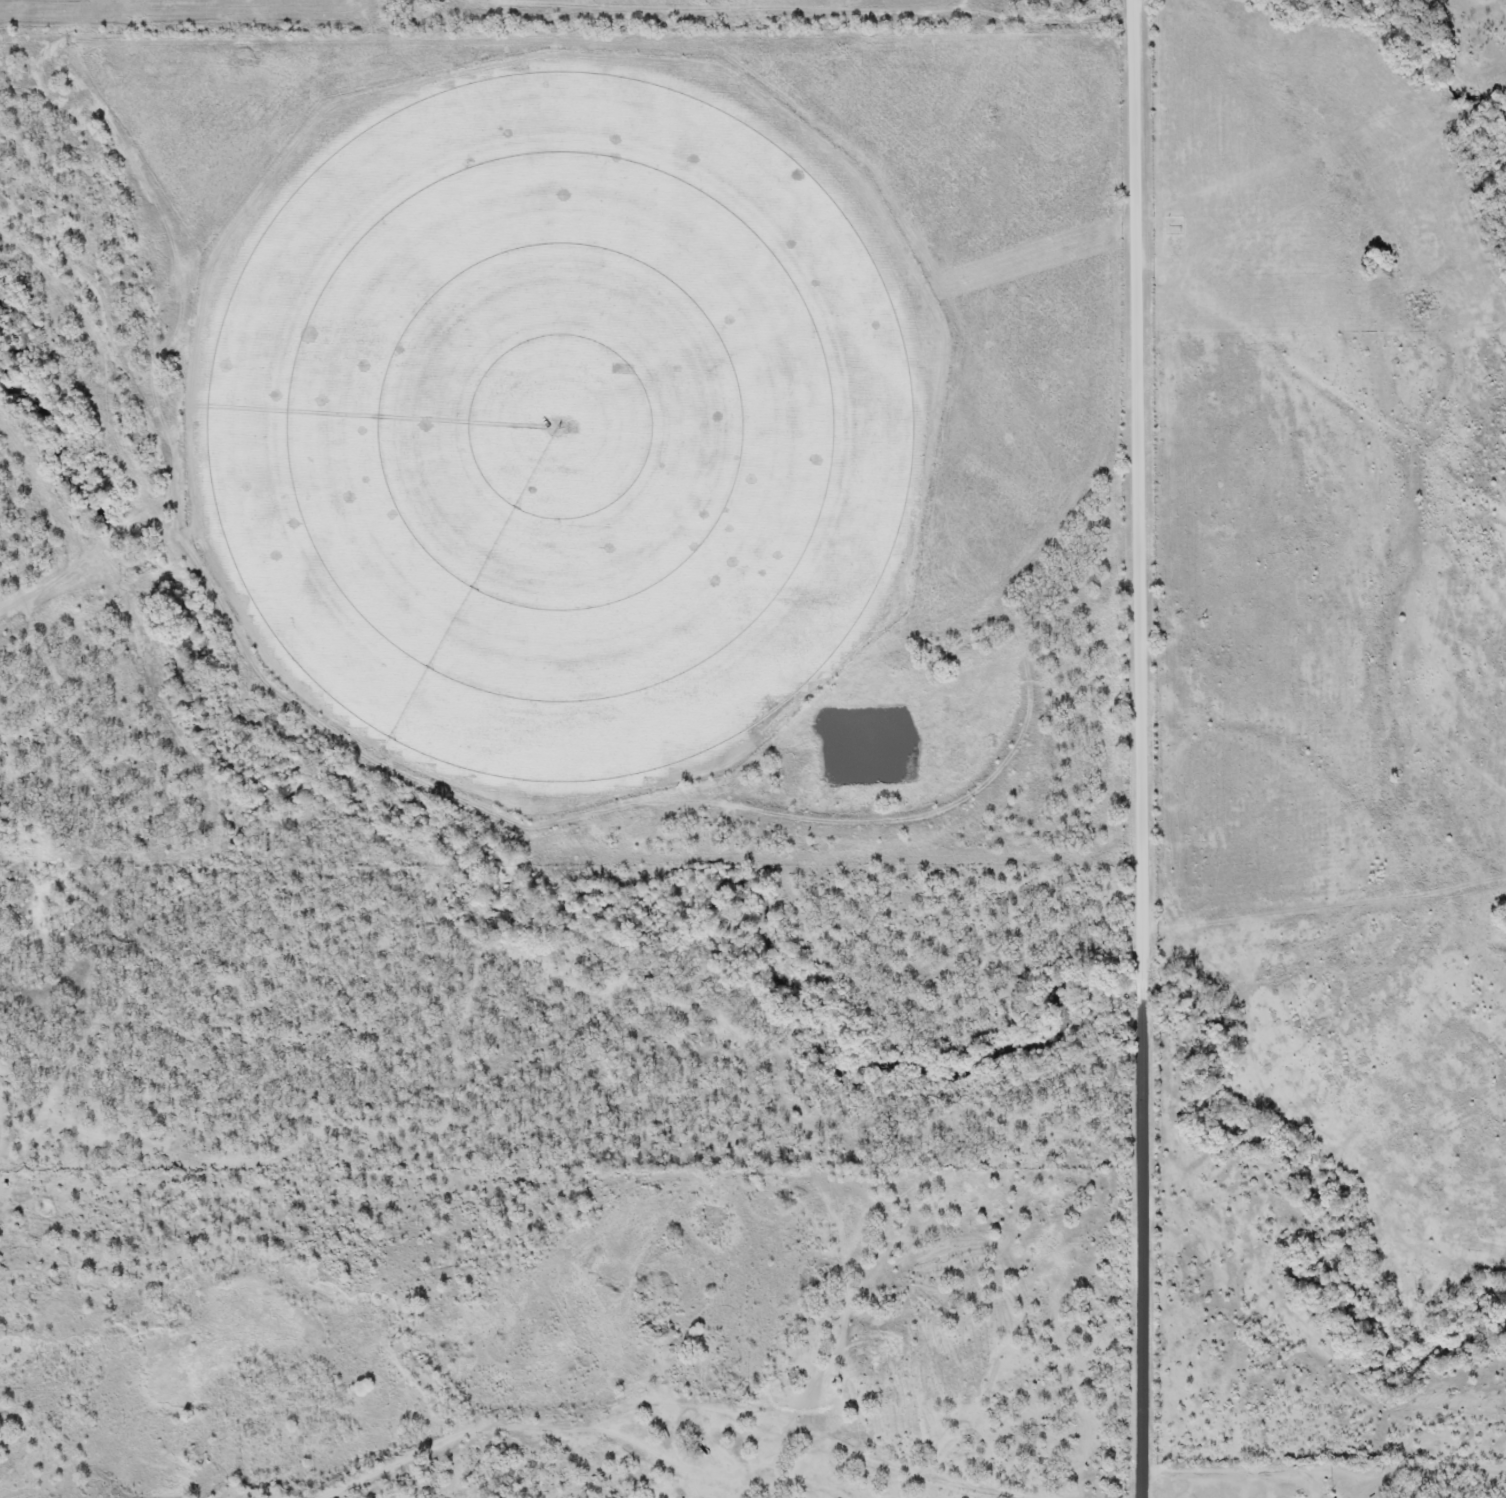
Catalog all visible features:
road: (1143, 749)
road: (1326, 917)

